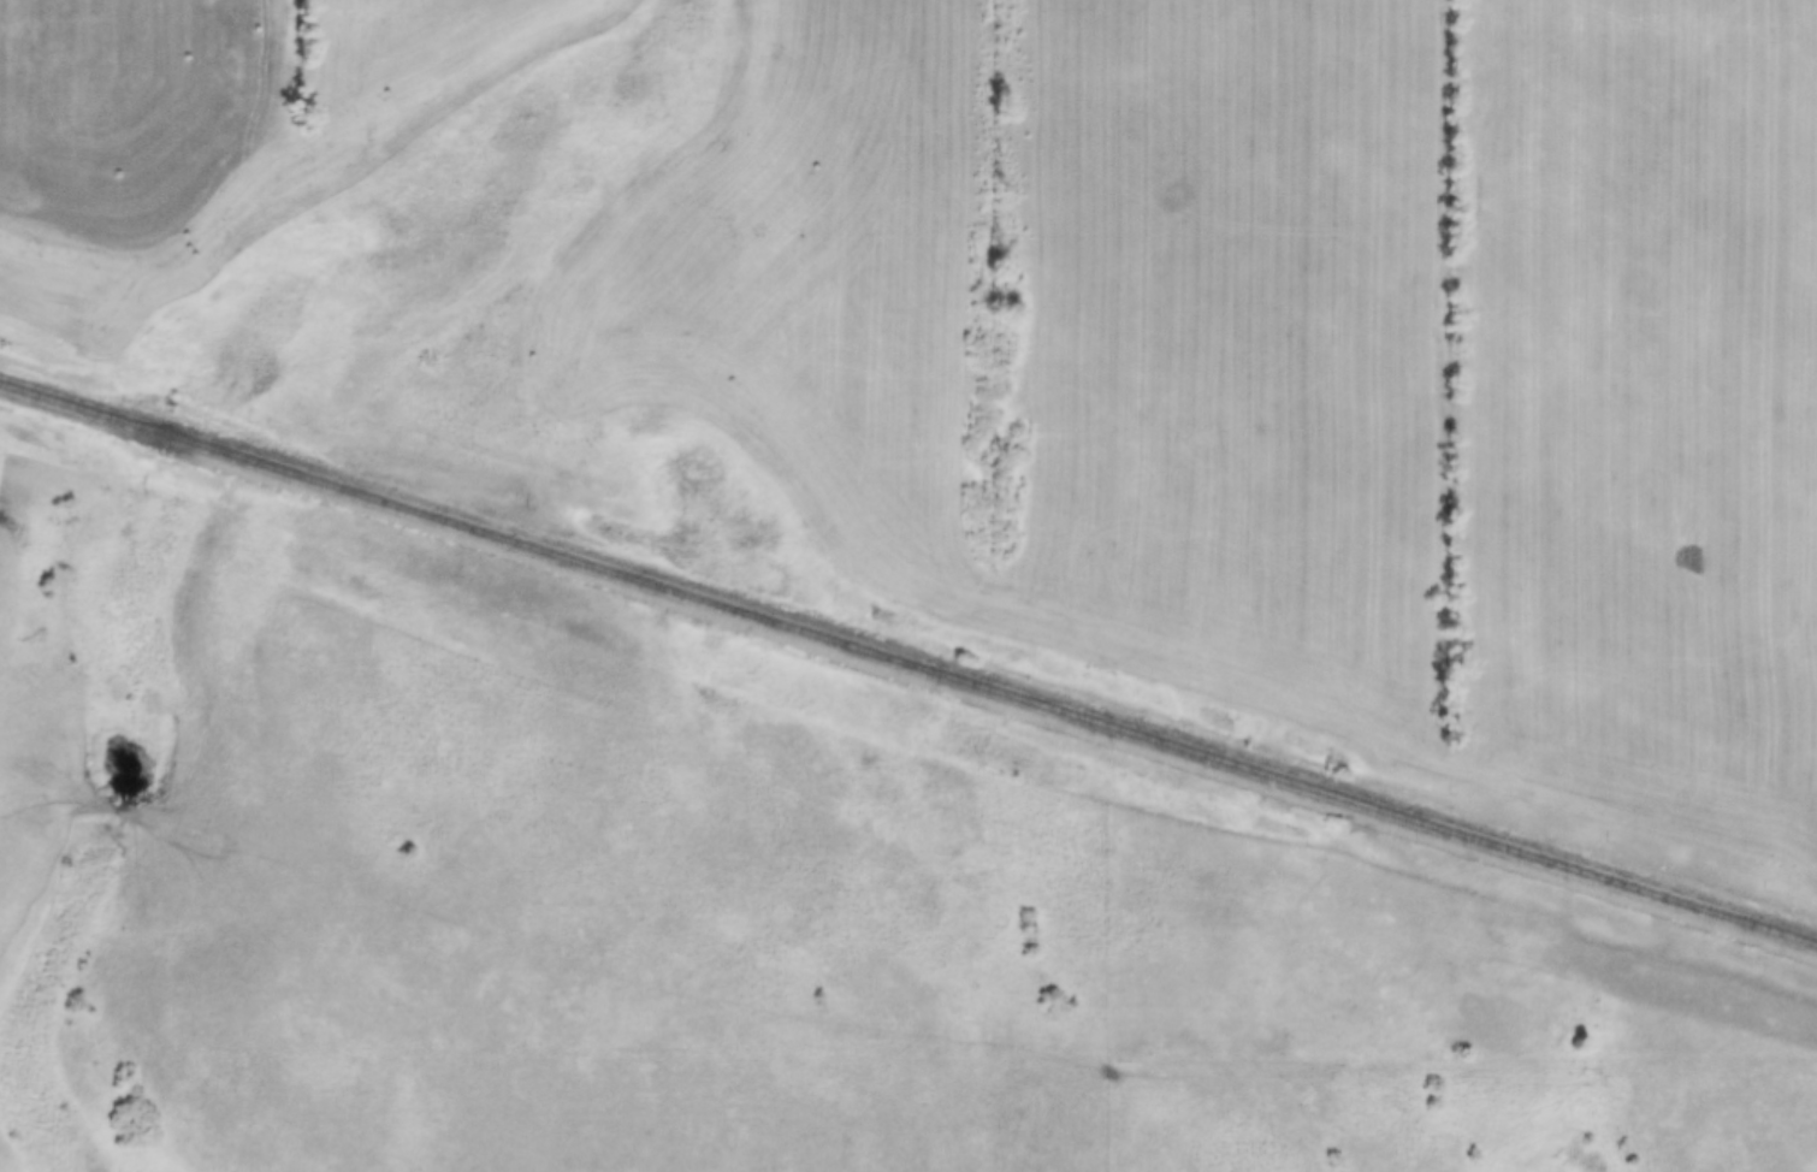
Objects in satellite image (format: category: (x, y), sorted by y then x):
railway: (907, 665)

